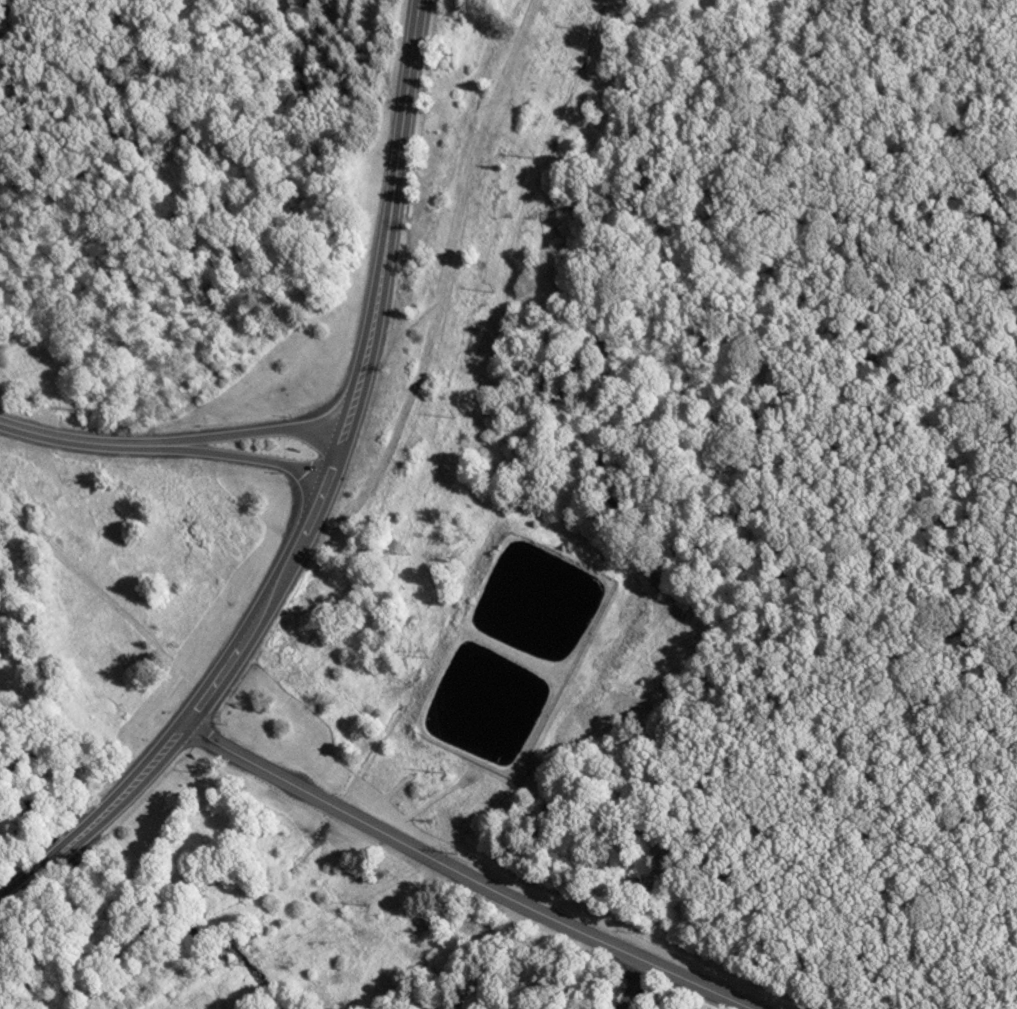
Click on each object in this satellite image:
road: (389, 215)
road: (267, 430)
road: (94, 442)
road: (259, 458)
road: (208, 689)
road: (464, 874)
road: (633, 985)

